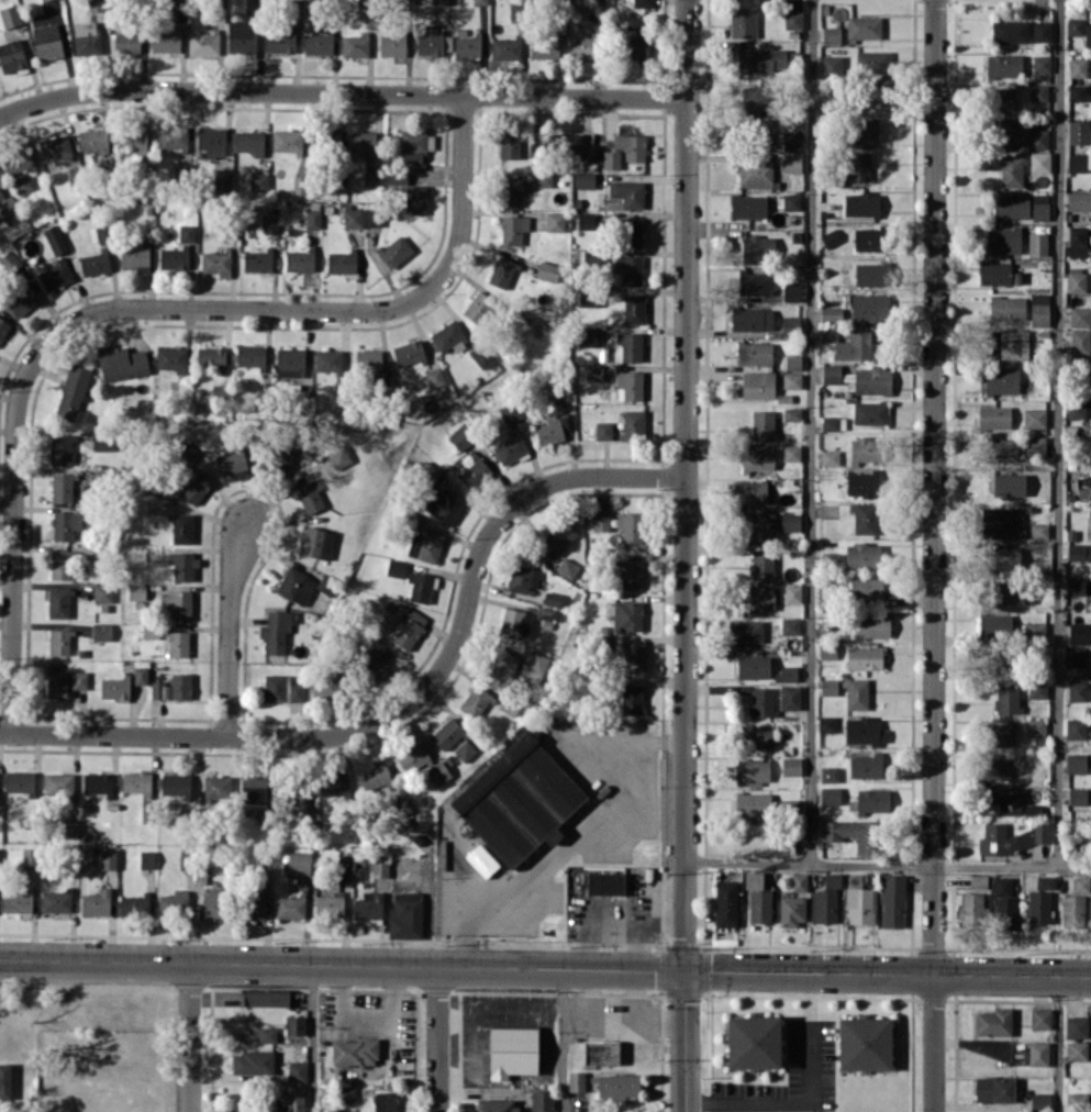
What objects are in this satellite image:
building: (41, 0)
building: (480, 1)
building: (439, 2)
building: (642, 3)
building: (10, 15)
building: (792, 19)
building: (743, 23)
building: (1075, 25)
building: (862, 27)
building: (1010, 31)
building: (1040, 31)
building: (831, 34)
building: (1087, 34)
building: (241, 36)
building: (86, 37)
building: (635, 37)
building: (46, 41)
building: (165, 41)
building: (279, 41)
building: (433, 41)
building: (126, 42)
building: (203, 43)
building: (318, 43)
building: (354, 45)
building: (392, 45)
building: (467, 46)
building: (581, 47)
building: (505, 48)
building: (543, 48)
building: (11, 55)
building: (761, 59)
building: (872, 63)
building: (1040, 63)
building: (832, 66)
building: (1003, 66)
building: (1077, 67)
road: (341, 91)
building: (1038, 91)
building: (1076, 92)
building: (872, 96)
building: (756, 98)
building: (1001, 99)
building: (757, 132)
building: (1078, 132)
building: (861, 133)
building: (1018, 134)
building: (172, 136)
building: (332, 136)
building: (133, 138)
building: (92, 140)
building: (211, 141)
building: (287, 141)
building: (361, 141)
building: (792, 141)
building: (249, 142)
building: (566, 144)
building: (414, 145)
building: (509, 145)
building: (631, 145)
building: (54, 147)
building: (592, 152)
building: (611, 159)
building: (18, 162)
building: (1039, 162)
building: (1078, 162)
building: (792, 163)
building: (858, 166)
building: (1011, 170)
building: (755, 174)
building: (371, 178)
building: (543, 179)
building: (583, 179)
building: (222, 180)
building: (258, 181)
building: (22, 182)
building: (299, 185)
building: (511, 191)
building: (627, 192)
building: (409, 193)
building: (1079, 200)
building: (791, 201)
building: (861, 203)
building: (7, 204)
building: (748, 205)
building: (1011, 207)
building: (1039, 207)
building: (374, 216)
building: (313, 218)
building: (353, 218)
building: (585, 219)
building: (554, 221)
building: (270, 222)
building: (513, 229)
building: (628, 231)
building: (187, 233)
building: (830, 237)
building: (869, 237)
building: (55, 238)
building: (1003, 240)
building: (1076, 242)
building: (1037, 243)
building: (758, 247)
building: (394, 251)
building: (135, 257)
building: (172, 257)
building: (257, 259)
building: (299, 259)
building: (9, 260)
building: (215, 262)
building: (339, 262)
building: (94, 263)
building: (630, 269)
building: (547, 270)
building: (501, 273)
building: (997, 273)
building: (870, 274)
building: (54, 275)
building: (1075, 279)
building: (754, 282)
building: (791, 291)
building: (588, 296)
building: (21, 300)
road: (138, 307)
building: (478, 307)
building: (869, 307)
building: (633, 308)
building: (1006, 308)
building: (1038, 309)
building: (830, 313)
building: (1079, 316)
building: (750, 319)
building: (519, 321)
building: (790, 324)
building: (3, 326)
building: (828, 333)
building: (448, 336)
building: (587, 336)
building: (1080, 341)
building: (1010, 343)
building: (630, 345)
building: (854, 346)
building: (409, 352)
building: (754, 353)
building: (249, 355)
building: (210, 356)
building: (171, 358)
building: (327, 360)
building: (290, 362)
building: (122, 363)
building: (370, 363)
building: (792, 363)
building: (593, 372)
building: (831, 374)
building: (433, 377)
building: (791, 380)
building: (872, 380)
building: (999, 380)
building: (630, 385)
building: (756, 385)
building: (71, 392)
building: (556, 392)
building: (1079, 409)
building: (511, 411)
building: (870, 412)
building: (791, 413)
building: (992, 416)
building: (1034, 418)
building: (633, 423)
building: (833, 423)
building: (762, 424)
building: (552, 429)
building: (603, 430)
road: (812, 432)
road: (1060, 433)
building: (459, 436)
building: (103, 441)
building: (1035, 445)
building: (62, 448)
building: (509, 448)
building: (1002, 448)
building: (865, 449)
building: (791, 452)
building: (338, 456)
building: (830, 456)
building: (280, 458)
building: (757, 458)
building: (232, 464)
building: (191, 469)
building: (474, 471)
building: (427, 472)
road: (686, 483)
building: (861, 483)
building: (1009, 485)
building: (62, 487)
building: (749, 491)
building: (309, 496)
building: (444, 504)
building: (864, 518)
building: (600, 521)
building: (789, 522)
building: (1002, 522)
building: (65, 524)
building: (630, 526)
building: (181, 527)
building: (756, 527)
building: (1038, 530)
building: (560, 535)
building: (318, 542)
building: (424, 545)
building: (1079, 551)
building: (862, 556)
road: (935, 556)
building: (1003, 558)
building: (60, 564)
building: (761, 564)
building: (182, 566)
building: (396, 567)
building: (567, 568)
building: (628, 574)
building: (523, 579)
building: (296, 585)
building: (420, 586)
building: (1075, 586)
building: (866, 588)
building: (136, 591)
building: (102, 592)
building: (792, 593)
building: (1009, 593)
building: (756, 597)
building: (550, 598)
building: (58, 602)
building: (175, 604)
building: (545, 613)
building: (626, 615)
building: (514, 622)
building: (789, 625)
building: (872, 625)
building: (994, 625)
building: (408, 627)
road: (229, 629)
building: (277, 630)
building: (831, 630)
building: (101, 631)
building: (149, 631)
building: (744, 631)
building: (1035, 631)
building: (1078, 633)
building: (59, 642)
building: (178, 644)
building: (827, 649)
building: (632, 655)
building: (1073, 656)
building: (864, 657)
building: (1090, 661)
building: (378, 665)
building: (502, 665)
building: (753, 666)
building: (535, 667)
building: (784, 674)
building: (140, 675)
building: (65, 682)
building: (828, 686)
building: (114, 687)
building: (172, 687)
building: (326, 687)
building: (281, 689)
building: (1037, 689)
building: (1077, 691)
building: (856, 693)
building: (789, 697)
building: (1006, 698)
building: (631, 699)
building: (475, 701)
building: (761, 701)
road: (405, 705)
building: (826, 723)
building: (1036, 726)
building: (1075, 729)
building: (864, 731)
building: (447, 734)
building: (995, 734)
building: (755, 736)
building: (465, 750)
building: (412, 756)
building: (1076, 763)
building: (790, 766)
building: (865, 766)
building: (994, 768)
building: (753, 771)
building: (437, 772)
building: (828, 774)
building: (374, 776)
building: (19, 781)
building: (97, 782)
building: (136, 782)
building: (175, 783)
building: (334, 783)
building: (58, 785)
building: (215, 787)
building: (254, 791)
building: (830, 794)
building: (517, 799)
building: (872, 801)
building: (752, 803)
building: (1003, 803)
building: (402, 805)
building: (1032, 809)
road: (605, 813)
building: (69, 829)
building: (850, 833)
building: (1014, 837)
building: (30, 856)
building: (108, 858)
building: (146, 859)
building: (481, 859)
building: (299, 863)
building: (377, 865)
road: (888, 865)
building: (343, 867)
building: (832, 879)
building: (978, 880)
road: (459, 881)
building: (799, 881)
building: (604, 882)
building: (1080, 883)
building: (757, 898)
building: (859, 900)
building: (892, 900)
building: (16, 901)
building: (55, 901)
building: (174, 901)
building: (1040, 901)
building: (96, 902)
building: (212, 903)
building: (329, 903)
building: (725, 903)
building: (133, 904)
building: (1004, 904)
building: (368, 905)
building: (971, 905)
building: (254, 907)
building: (289, 907)
building: (823, 907)
building: (1072, 909)
building: (791, 910)
building: (405, 914)
road: (343, 964)
traffic signals: (686, 969)
road: (888, 972)
building: (265, 998)
road: (532, 1008)
road: (612, 1011)
building: (1039, 1018)
building: (993, 1022)
road: (655, 1023)
building: (293, 1025)
building: (1076, 1026)
building: (266, 1034)
road: (189, 1036)
road: (309, 1037)
road: (437, 1037)
road: (566, 1039)
road: (686, 1041)
building: (752, 1042)
building: (864, 1043)
road: (1059, 1044)
road: (478, 1046)
building: (1076, 1049)
building: (354, 1050)
building: (512, 1052)
building: (600, 1052)
building: (1037, 1053)
building: (252, 1061)
building: (297, 1070)
building: (4, 1080)
building: (576, 1080)
building: (617, 1085)
building: (993, 1089)
road: (811, 1098)
building: (1076, 1098)
building: (292, 1099)
building: (541, 1100)
building: (385, 1101)
building: (1039, 1102)
building: (496, 1104)

